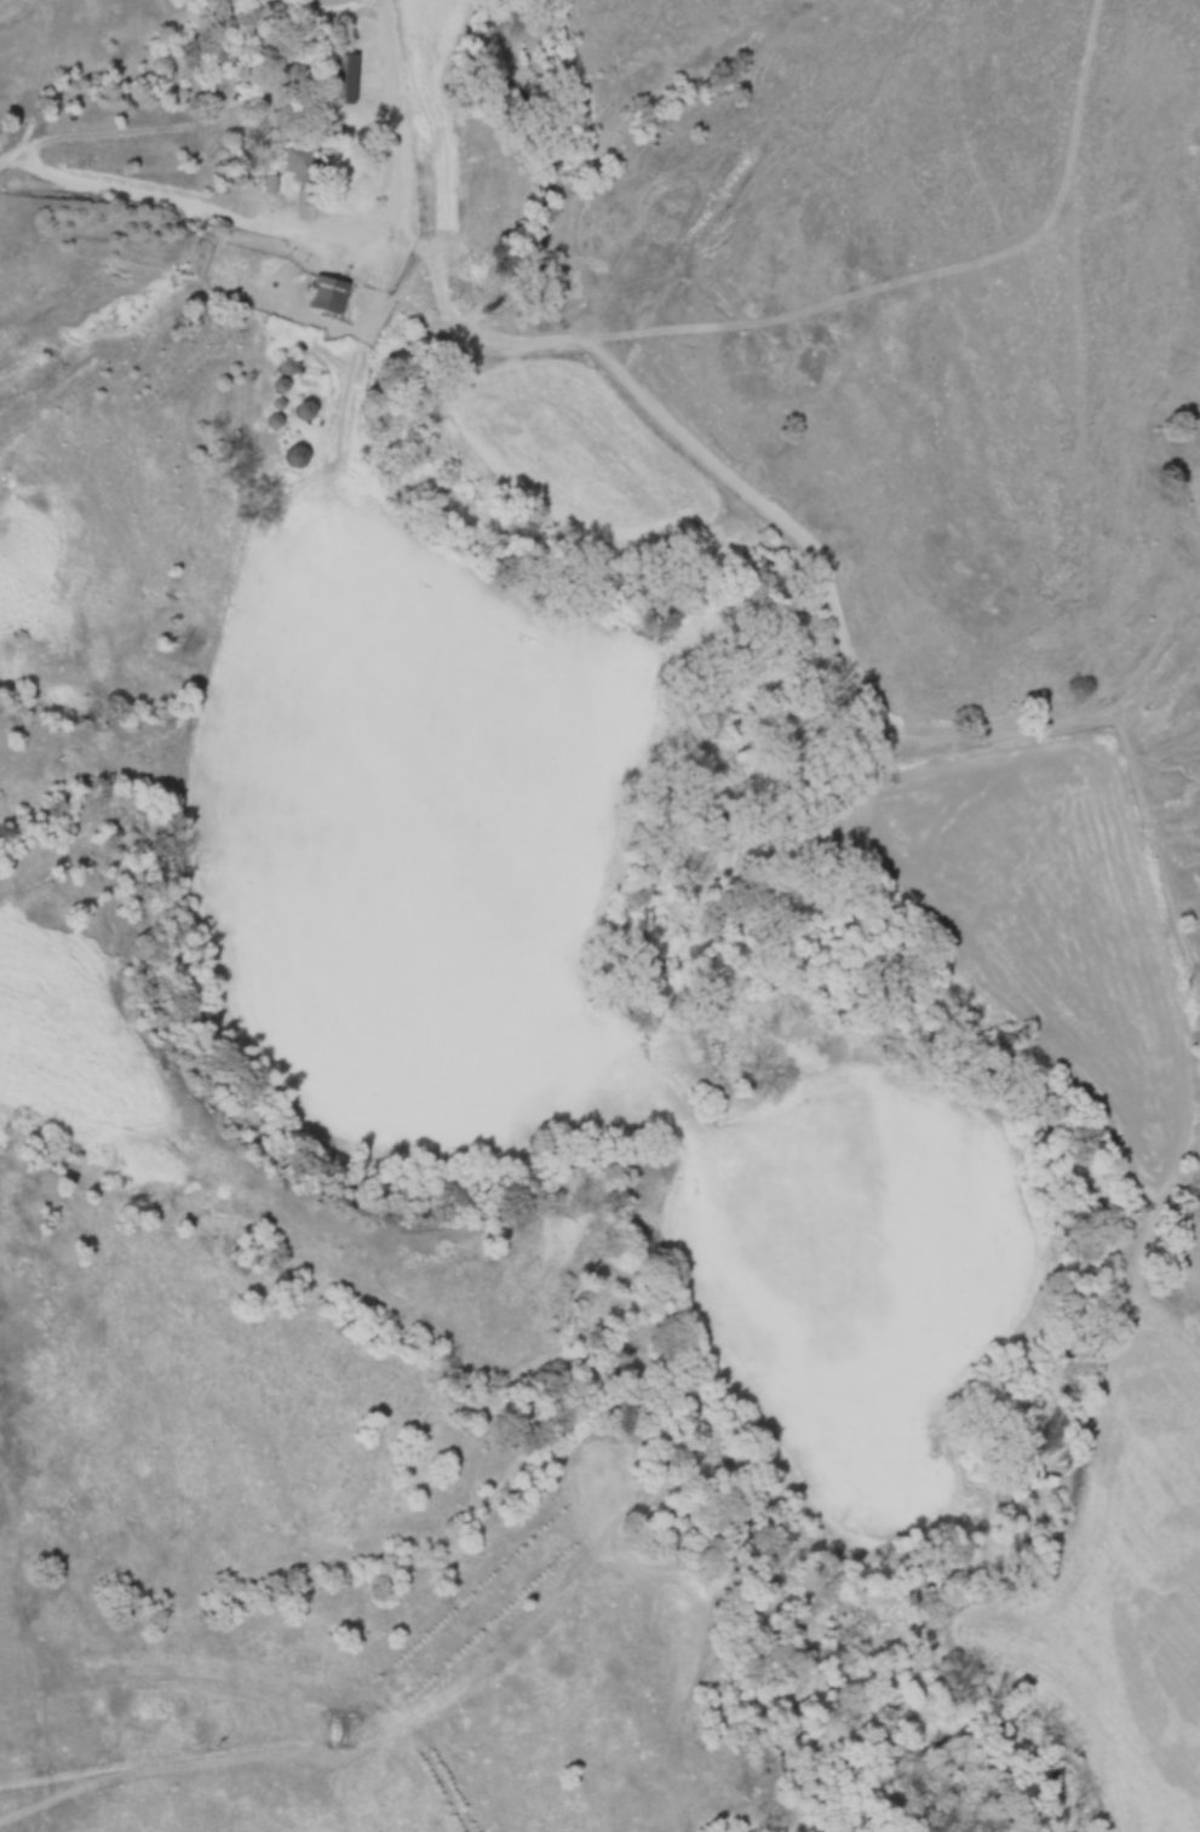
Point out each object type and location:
building: (341, 79)
building: (297, 163)
building: (327, 297)
building: (286, 367)
building: (295, 458)

